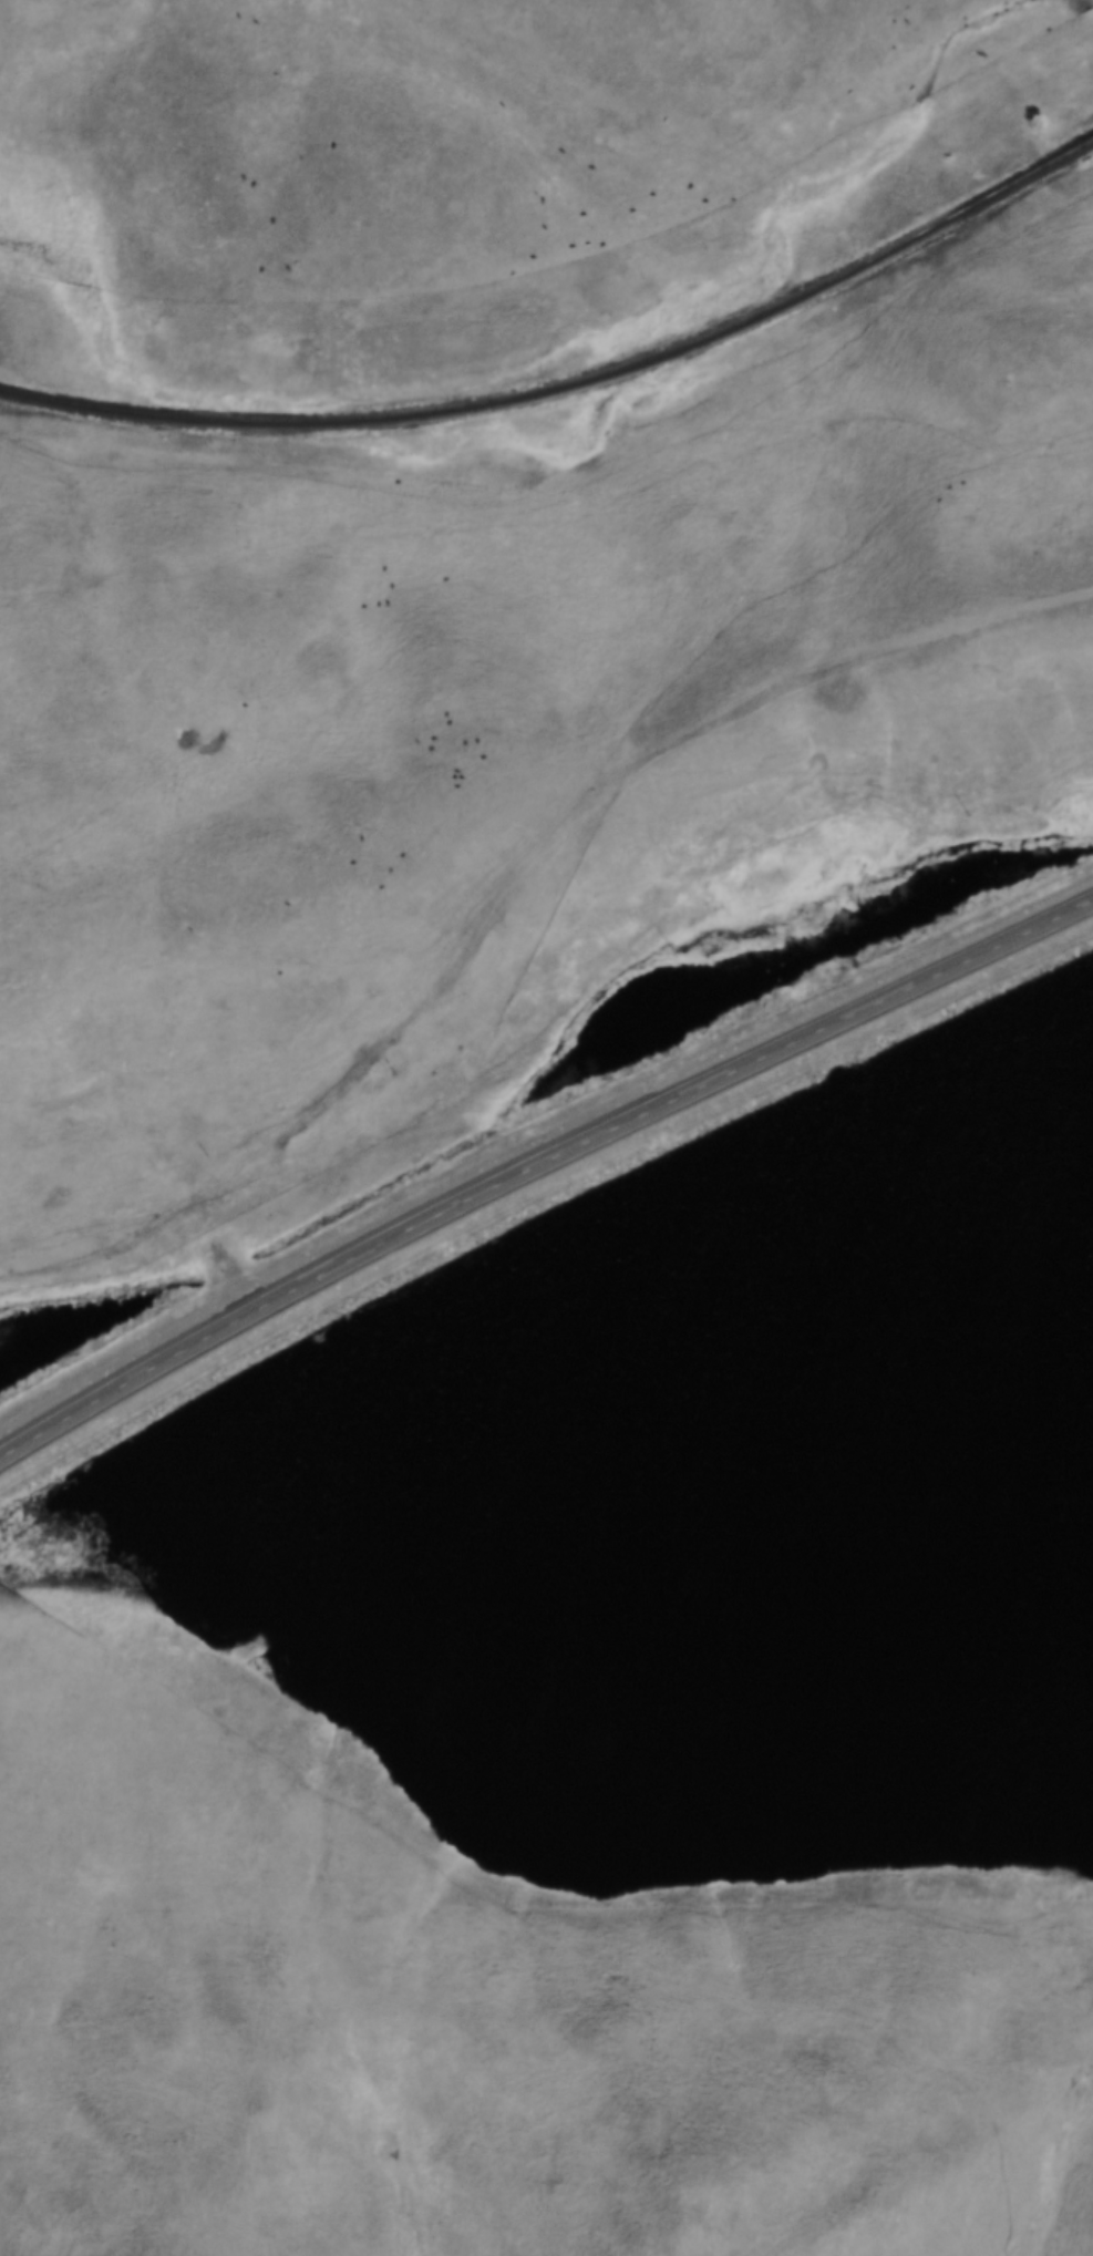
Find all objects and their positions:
railway: (561, 389)
road: (539, 1174)

